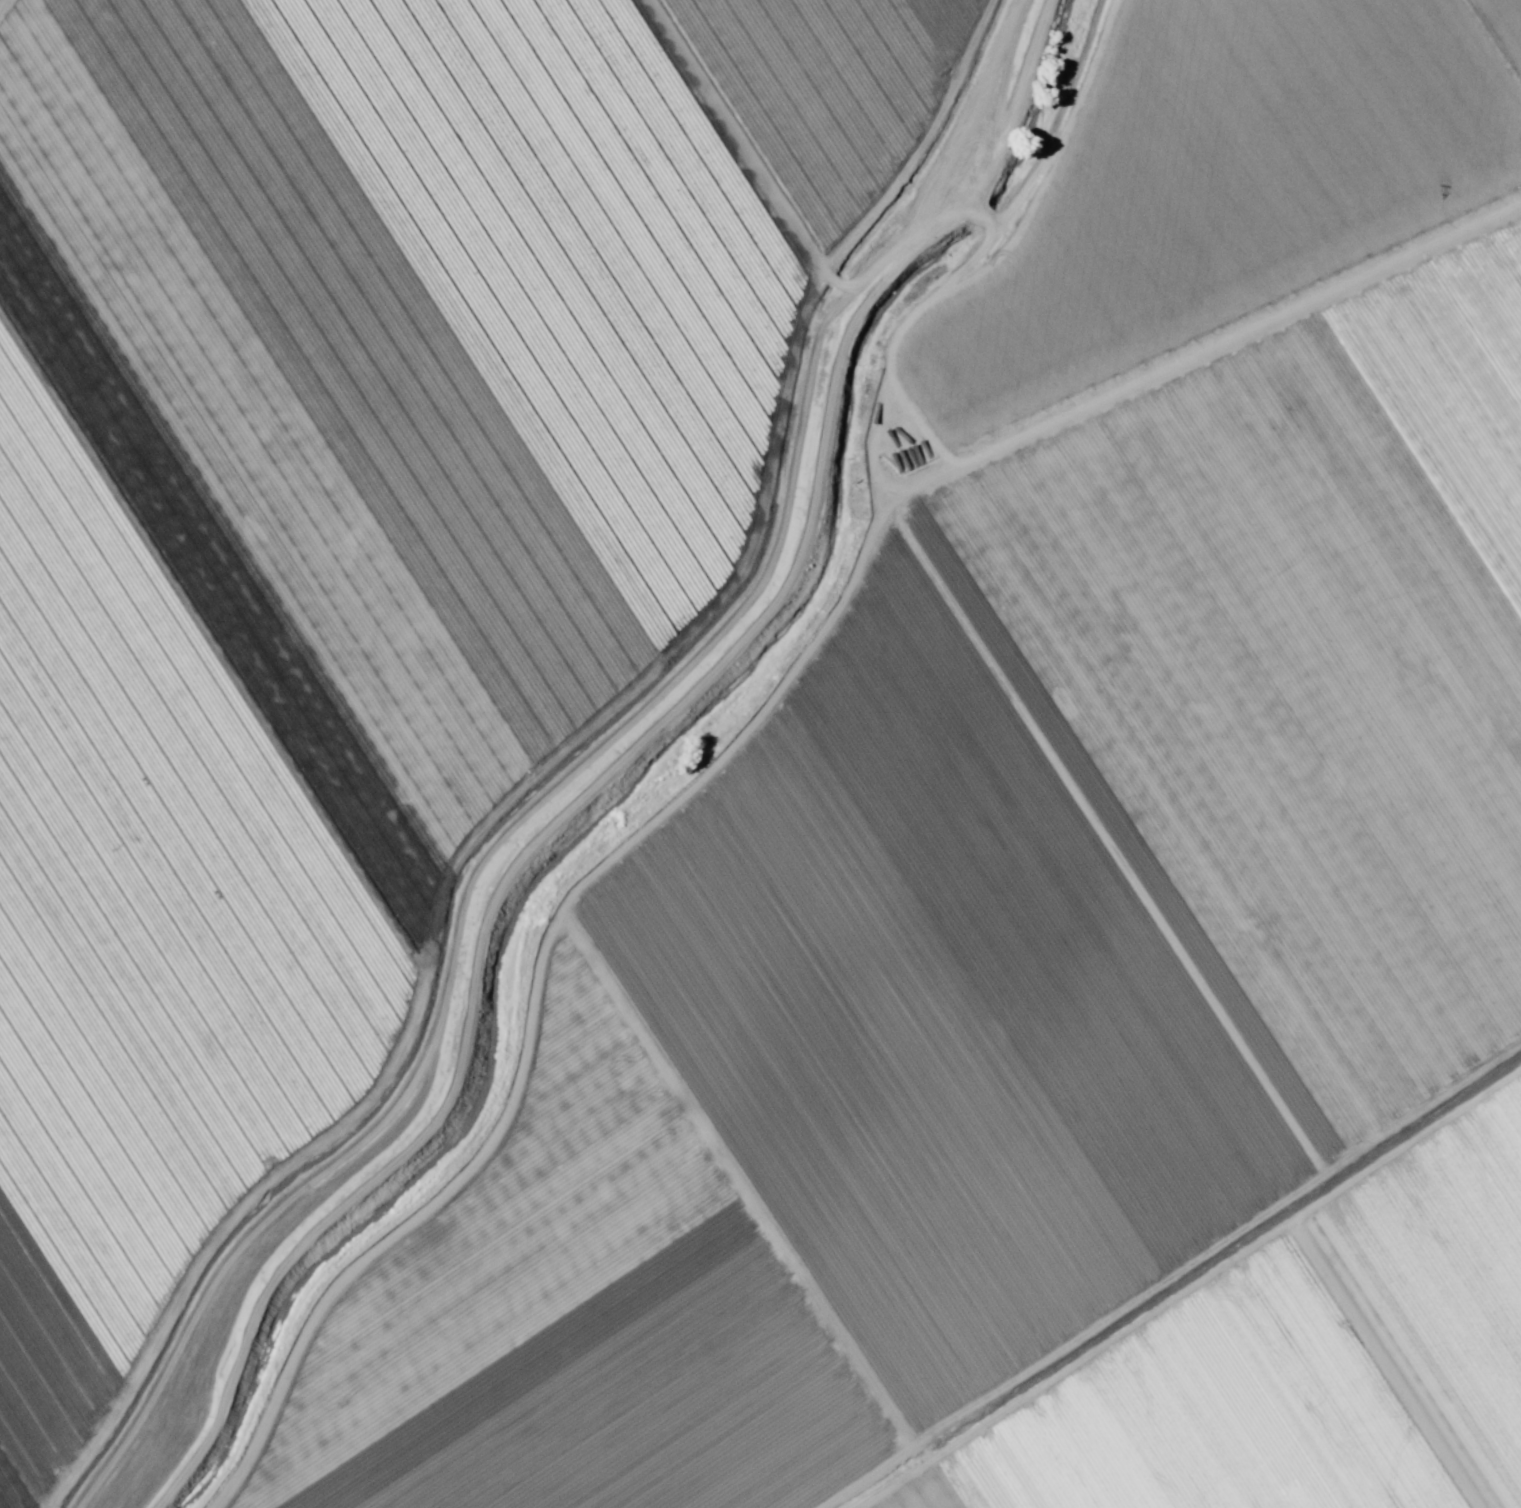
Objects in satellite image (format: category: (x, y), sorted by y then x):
road: (3, 5)
road: (1073, 121)
road: (1198, 342)
crop: (764, 750)
road: (723, 765)

